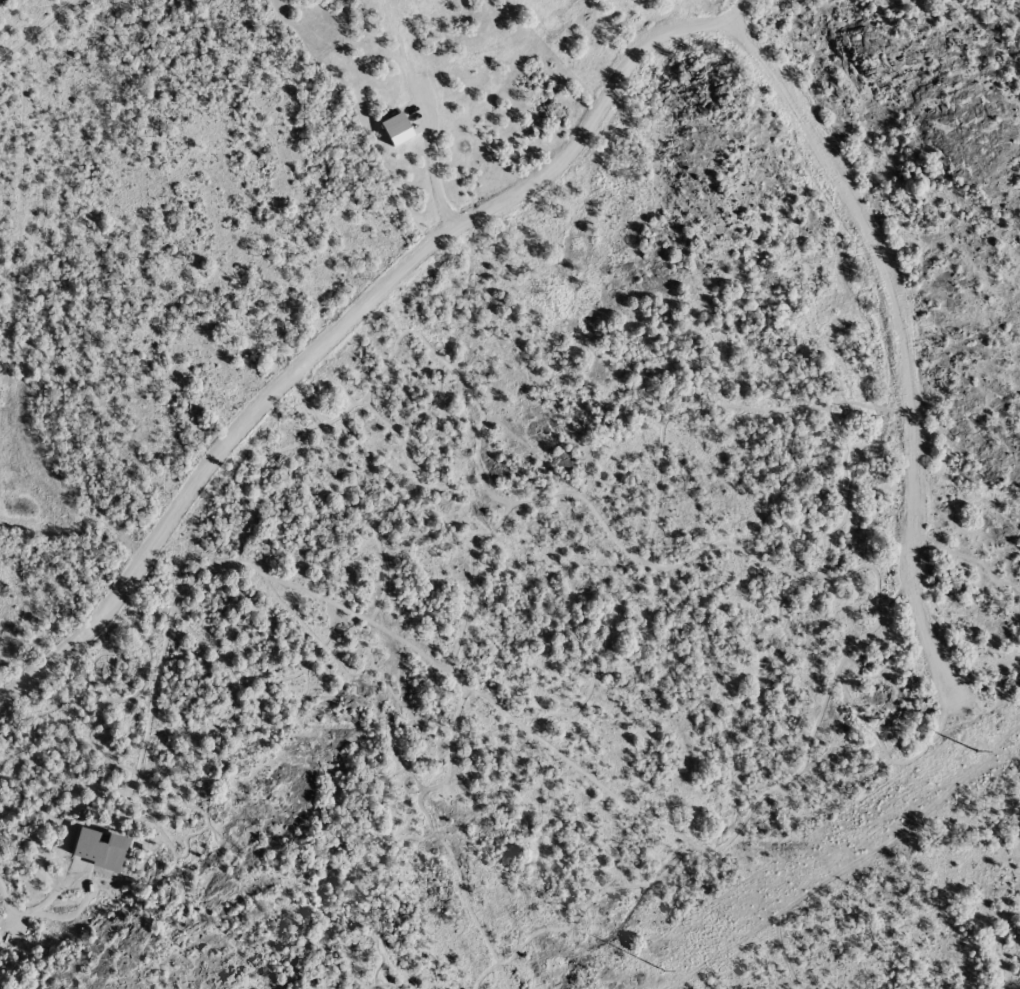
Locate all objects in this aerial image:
road: (738, 13)
road: (761, 74)
road: (433, 171)
road: (726, 272)
road: (361, 294)
road: (904, 405)
power tower: (975, 749)
road: (891, 836)
road: (35, 908)
road: (714, 950)
road: (784, 950)
power tower: (663, 968)

